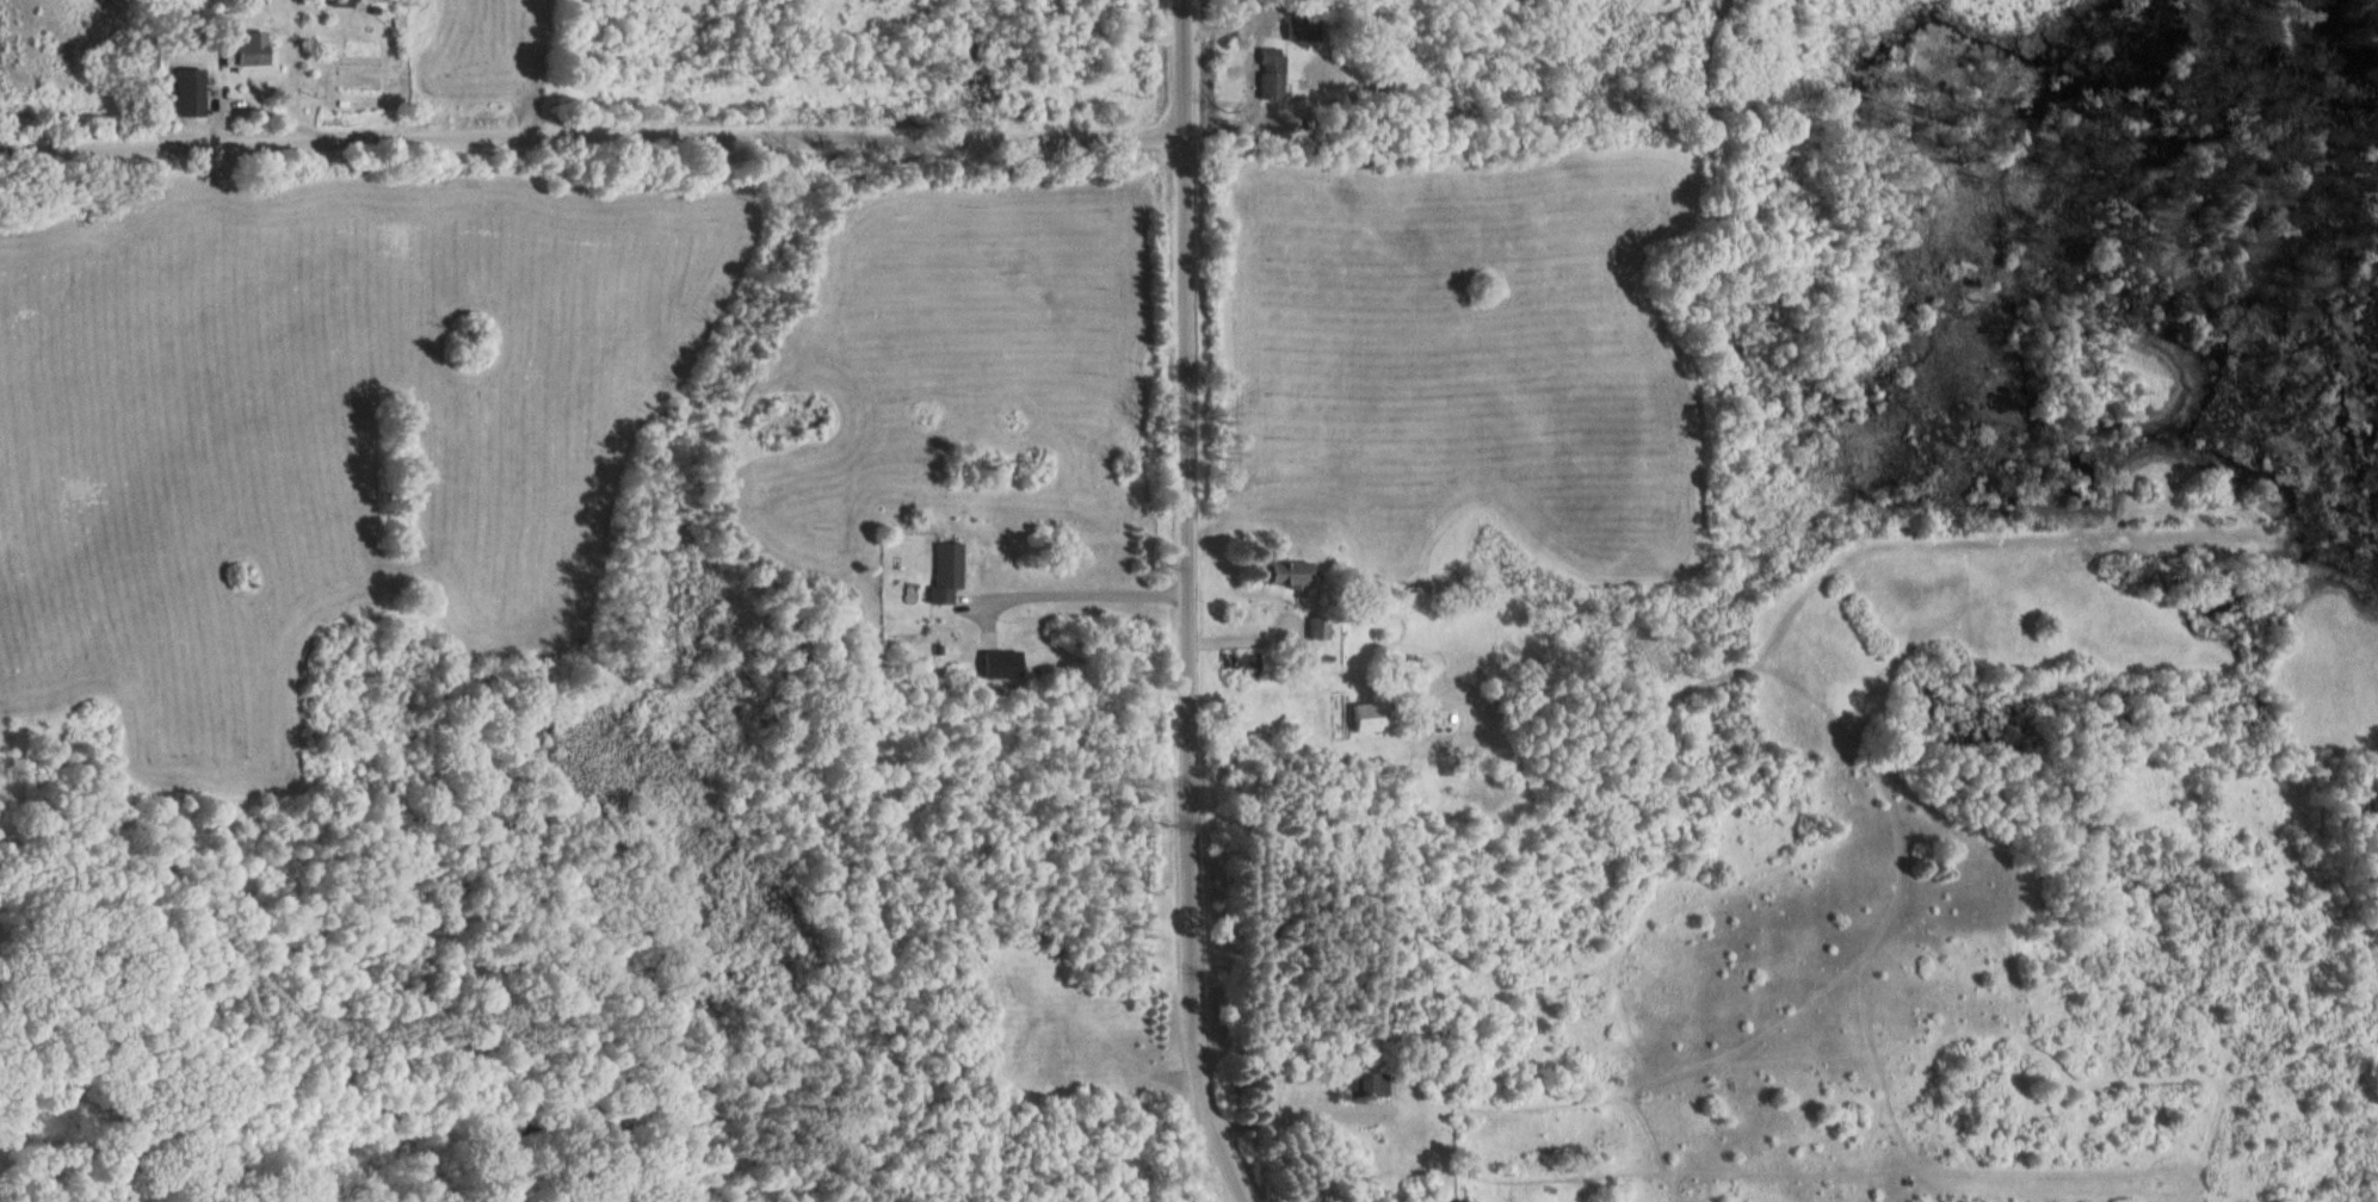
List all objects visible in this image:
building: (137, 57)
road: (1186, 72)
building: (1265, 74)
building: (178, 93)
road: (592, 136)
building: (940, 572)
building: (1279, 575)
road: (1085, 591)
building: (1310, 630)
building: (1231, 662)
building: (993, 665)
road: (1193, 679)
building: (1359, 718)
building: (1360, 1085)

